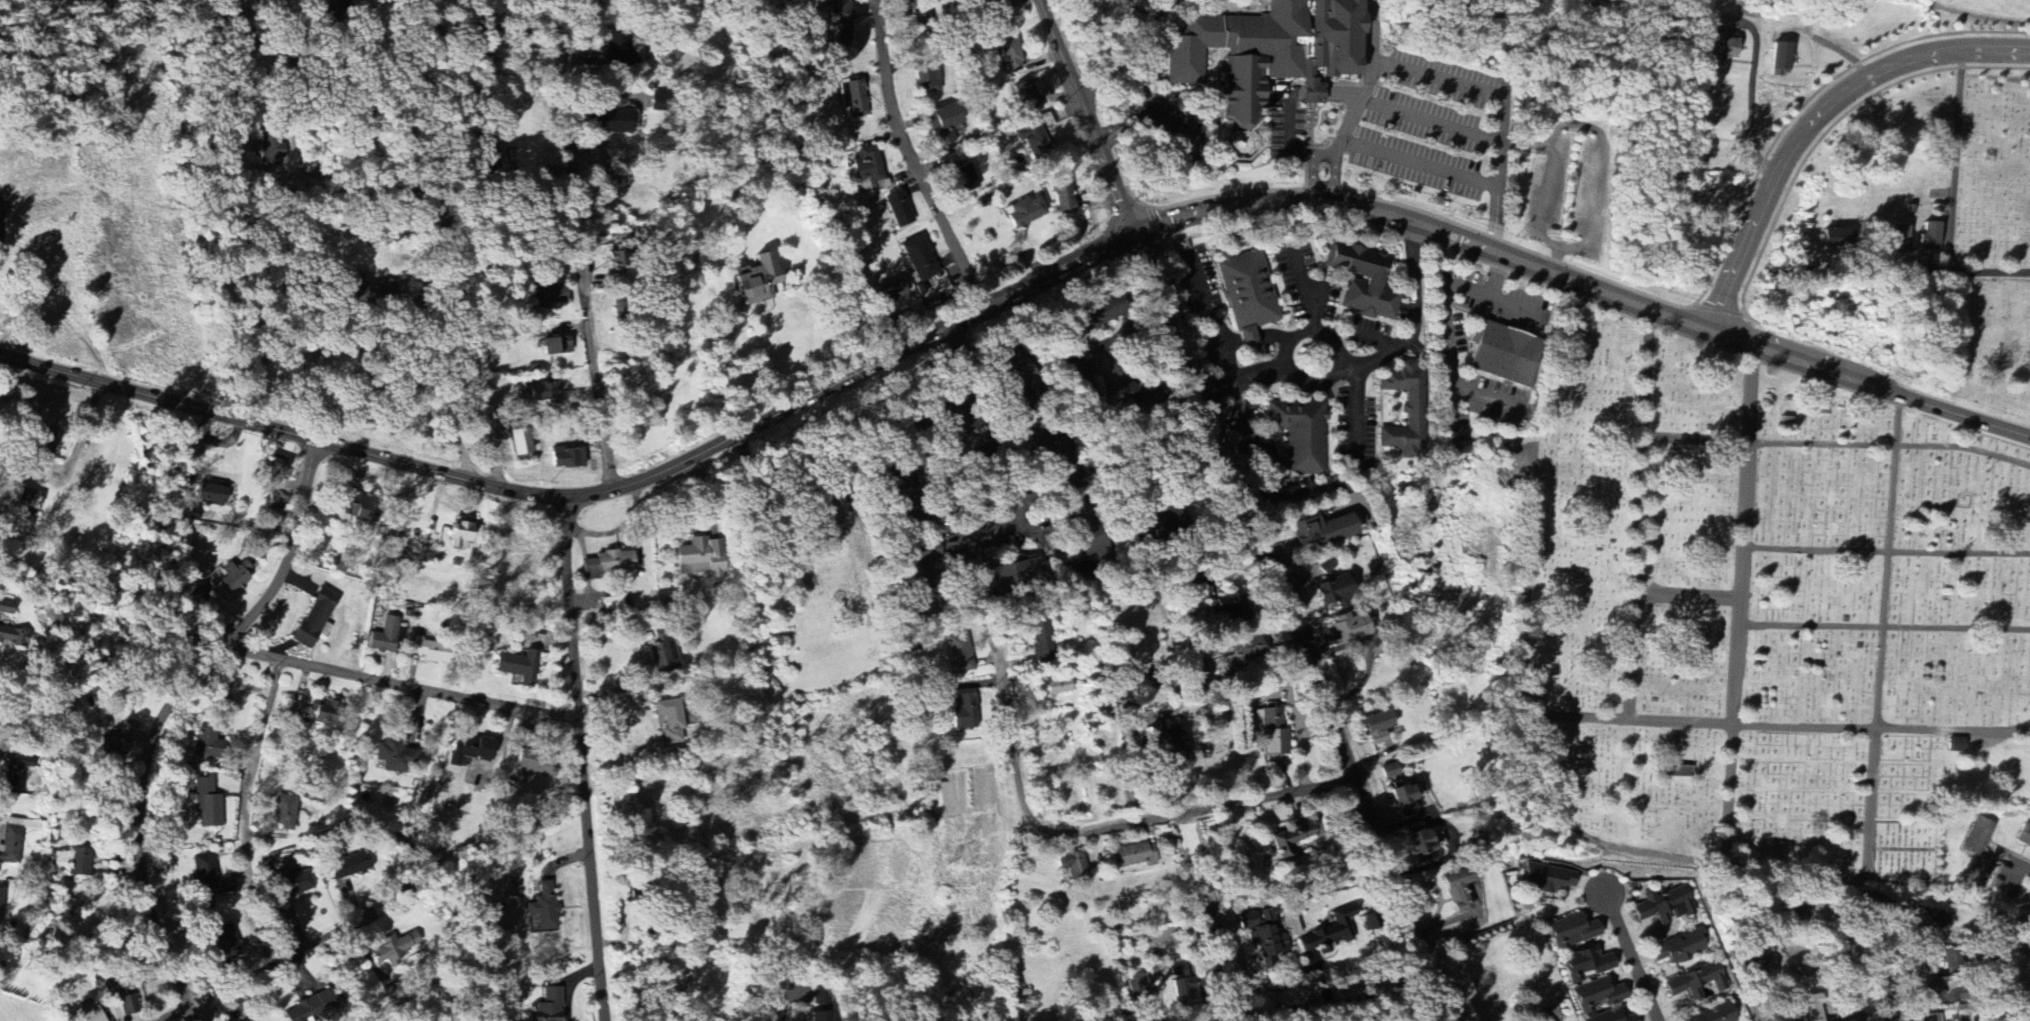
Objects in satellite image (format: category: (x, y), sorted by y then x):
building: (328, 5)
building: (840, 22)
building: (1722, 47)
road: (1128, 49)
building: (1270, 52)
building: (617, 53)
building: (1011, 56)
building: (1781, 58)
building: (927, 78)
road: (1752, 91)
building: (1026, 98)
building: (853, 100)
road: (1360, 103)
road: (1810, 112)
road: (1157, 113)
road: (1430, 120)
building: (613, 121)
building: (942, 124)
road: (1499, 132)
road: (1107, 135)
road: (1288, 135)
building: (1033, 140)
building: (272, 151)
road: (913, 154)
road: (1158, 155)
building: (485, 156)
road: (1317, 157)
road: (1328, 157)
road: (1956, 157)
park: (1994, 173)
road: (1312, 178)
road: (1334, 178)
building: (963, 179)
building: (610, 183)
building: (1062, 195)
building: (897, 209)
building: (1024, 212)
road: (1498, 214)
traffic signals: (1140, 222)
building: (1930, 236)
building: (1836, 238)
building: (1899, 240)
road: (453, 243)
road: (588, 248)
building: (919, 259)
building: (616, 262)
road: (1502, 268)
road: (1922, 269)
road: (1510, 270)
building: (1373, 280)
building: (758, 281)
road: (1588, 282)
building: (360, 290)
road: (994, 292)
building: (888, 293)
building: (547, 295)
building: (1247, 295)
building: (1096, 314)
road: (1315, 320)
building: (555, 346)
park: (1986, 346)
building: (1504, 355)
road: (378, 359)
road: (1367, 362)
road: (1097, 363)
building: (1079, 378)
road: (1478, 389)
building: (541, 392)
building: (1405, 409)
road: (1356, 412)
road: (268, 419)
building: (1298, 436)
building: (519, 442)
road: (1838, 443)
building: (41, 444)
building: (1050, 448)
road: (701, 450)
building: (567, 458)
road: (1261, 463)
building: (275, 469)
building: (900, 492)
building: (209, 495)
building: (28, 502)
building: (274, 504)
road: (1257, 505)
building: (355, 506)
road: (1640, 509)
building: (1161, 524)
road: (942, 526)
building: (1322, 531)
building: (460, 534)
building: (1089, 541)
road: (1885, 550)
building: (702, 560)
building: (606, 564)
building: (235, 576)
building: (920, 576)
building: (1010, 577)
building: (1334, 590)
road: (1687, 592)
building: (1230, 605)
building: (6, 608)
park: (1761, 616)
building: (313, 619)
road: (1883, 626)
building: (1349, 628)
building: (13, 637)
building: (384, 637)
building: (1041, 643)
building: (1247, 649)
building: (430, 650)
building: (663, 653)
building: (958, 655)
building: (518, 667)
road: (400, 683)
building: (1057, 687)
road: (1126, 689)
road: (168, 710)
building: (964, 710)
building: (322, 714)
building: (670, 721)
road: (1784, 725)
building: (1377, 727)
building: (1273, 733)
building: (1169, 743)
building: (205, 744)
building: (1956, 746)
building: (108, 751)
building: (470, 752)
road: (581, 756)
building: (394, 758)
building: (535, 765)
building: (1389, 771)
building: (12, 782)
building: (1404, 795)
building: (206, 804)
building: (283, 813)
road: (1098, 827)
building: (2024, 836)
building: (1288, 841)
building: (1423, 844)
building: (1482, 844)
building: (10, 846)
building: (1135, 856)
building: (1977, 856)
road: (247, 861)
building: (78, 863)
building: (1071, 865)
road: (2021, 865)
building: (348, 868)
road: (1776, 871)
building: (1547, 879)
building: (293, 884)
building: (209, 886)
building: (0, 890)
building: (1464, 892)
road: (1868, 893)
building: (1663, 906)
building: (543, 909)
building: (1935, 917)
road: (331, 921)
building: (1291, 927)
building: (1571, 932)
building: (1263, 934)
building: (1326, 937)
building: (226, 941)
building: (1679, 948)
building: (392, 949)
road: (1632, 958)
building: (1951, 958)
building: (1755, 961)
building: (1586, 965)
building: (1697, 982)
building: (1182, 983)
building: (117, 989)
building: (1136, 989)
building: (1596, 996)
road: (420, 1004)
building: (128, 1005)
building: (547, 1006)
building: (820, 1006)
building: (306, 1009)
building: (1810, 1009)
road: (1277, 1012)
building: (90, 1013)
road: (767, 1014)
building: (1716, 1014)
road: (184, 1016)
building: (1611, 1017)
building: (1926, 1018)
building: (249, 1020)
building: (1941, 1020)

